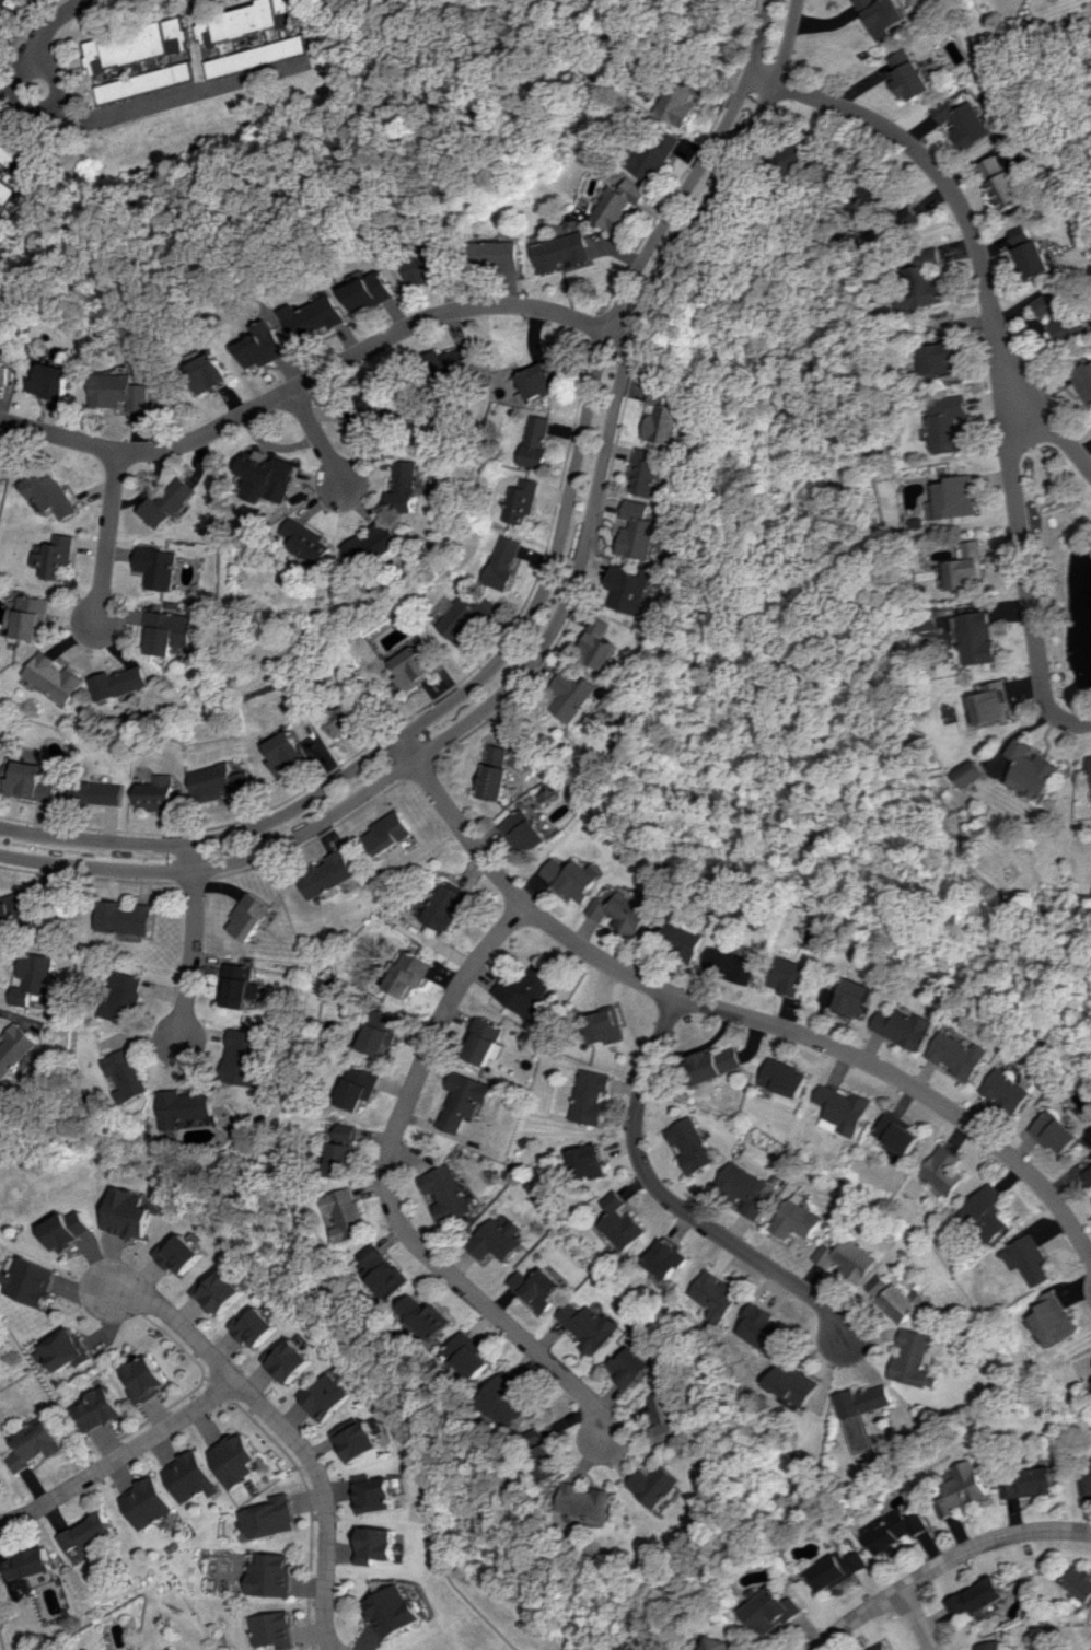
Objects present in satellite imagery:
building: (22, 3)
building: (884, 15)
building: (252, 20)
road: (51, 25)
building: (9, 27)
building: (139, 45)
building: (263, 56)
building: (912, 74)
building: (150, 81)
road: (10, 93)
road: (185, 95)
building: (683, 101)
road: (57, 103)
building: (964, 121)
building: (14, 143)
building: (657, 152)
building: (804, 153)
building: (27, 169)
building: (1002, 182)
road: (945, 184)
building: (9, 189)
building: (881, 190)
building: (619, 205)
road: (1, 210)
building: (915, 214)
building: (561, 251)
building: (495, 254)
building: (428, 266)
building: (928, 279)
building: (370, 291)
building: (1058, 316)
building: (316, 317)
building: (2, 345)
building: (265, 345)
building: (943, 359)
building: (448, 362)
building: (212, 373)
building: (4, 374)
road: (317, 374)
building: (537, 381)
building: (1084, 381)
building: (54, 382)
building: (124, 392)
building: (365, 411)
building: (668, 417)
building: (952, 423)
road: (317, 438)
building: (535, 441)
building: (649, 470)
building: (267, 477)
building: (404, 487)
building: (54, 492)
building: (961, 497)
building: (522, 501)
building: (170, 502)
road: (1021, 524)
building: (376, 539)
road: (108, 541)
building: (504, 562)
building: (973, 566)
building: (158, 567)
building: (632, 588)
road: (544, 591)
road: (567, 612)
building: (34, 617)
building: (464, 617)
building: (170, 631)
building: (983, 637)
building: (601, 643)
building: (411, 667)
building: (58, 676)
building: (121, 682)
building: (576, 694)
building: (995, 702)
building: (344, 719)
building: (286, 752)
building: (1035, 768)
building: (497, 771)
building: (973, 774)
building: (30, 782)
building: (219, 782)
building: (97, 792)
building: (160, 793)
building: (525, 832)
building: (392, 833)
building: (329, 874)
building: (572, 878)
building: (449, 906)
building: (14, 911)
building: (622, 913)
building: (253, 915)
building: (128, 917)
building: (676, 933)
road: (195, 942)
building: (730, 964)
building: (411, 974)
building: (789, 976)
building: (36, 977)
building: (242, 985)
building: (530, 989)
building: (128, 997)
building: (852, 997)
road: (730, 1013)
building: (604, 1026)
building: (903, 1027)
building: (385, 1032)
building: (485, 1042)
building: (15, 1049)
building: (956, 1055)
building: (246, 1058)
building: (715, 1064)
building: (129, 1074)
building: (785, 1078)
building: (362, 1087)
building: (1006, 1091)
building: (591, 1095)
building: (464, 1100)
building: (186, 1107)
building: (843, 1109)
building: (1055, 1131)
building: (897, 1132)
building: (692, 1144)
building: (347, 1154)
building: (589, 1162)
building: (944, 1170)
building: (1088, 1174)
building: (747, 1189)
building: (448, 1193)
road: (396, 1198)
road: (674, 1198)
building: (988, 1212)
building: (128, 1213)
building: (350, 1213)
building: (796, 1220)
building: (623, 1222)
building: (69, 1230)
building: (497, 1239)
building: (179, 1254)
building: (669, 1258)
building: (1028, 1258)
building: (848, 1259)
building: (387, 1270)
building: (31, 1280)
building: (881, 1283)
building: (539, 1288)
building: (219, 1292)
building: (720, 1295)
building: (904, 1302)
building: (430, 1316)
building: (1052, 1318)
building: (591, 1325)
building: (254, 1326)
building: (65, 1349)
building: (474, 1355)
building: (289, 1360)
building: (914, 1360)
building: (632, 1366)
building: (142, 1379)
building: (797, 1383)
building: (327, 1396)
building: (510, 1399)
building: (96, 1408)
building: (863, 1411)
building: (668, 1417)
road: (286, 1429)
building: (361, 1439)
building: (33, 1443)
building: (550, 1453)
road: (118, 1455)
building: (236, 1459)
building: (190, 1476)
building: (1084, 1476)
building: (1028, 1481)
building: (661, 1485)
building: (962, 1489)
building: (378, 1492)
building: (594, 1501)
building: (146, 1502)
building: (271, 1518)
building: (907, 1523)
building: (86, 1533)
building: (883, 1536)
building: (379, 1544)
road: (944, 1561)
building: (25, 1569)
building: (837, 1569)
building: (269, 1575)
building: (1079, 1583)
building: (977, 1596)
building: (773, 1608)
building: (394, 1610)
road: (915, 1619)
building: (271, 1629)
building: (724, 1645)
building: (988, 1646)
building: (879, 1647)

